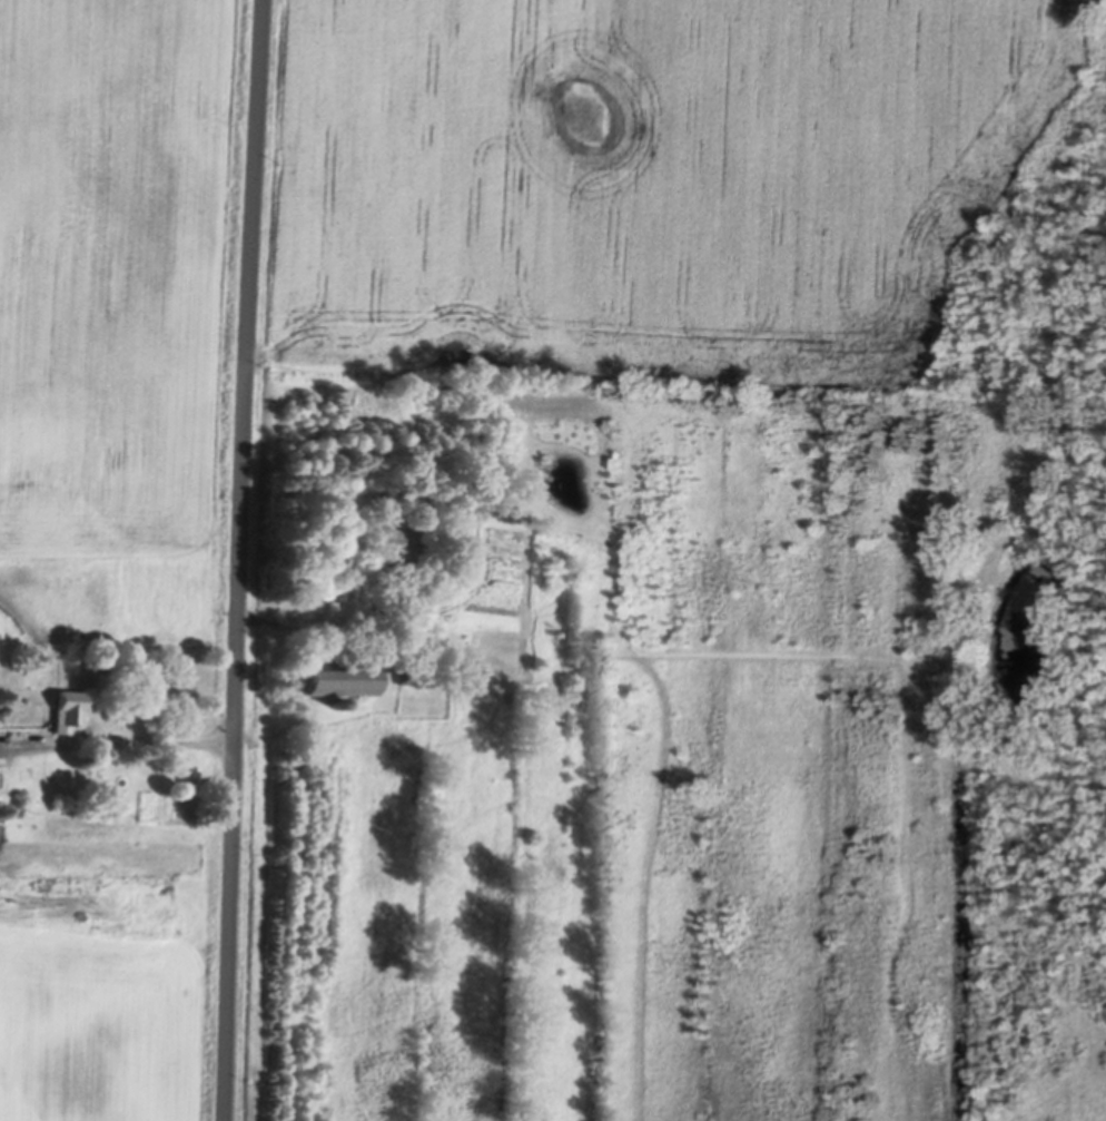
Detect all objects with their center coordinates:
building: (405, 545)
road: (239, 560)
road: (298, 623)
building: (335, 677)
building: (65, 707)
road: (116, 738)

